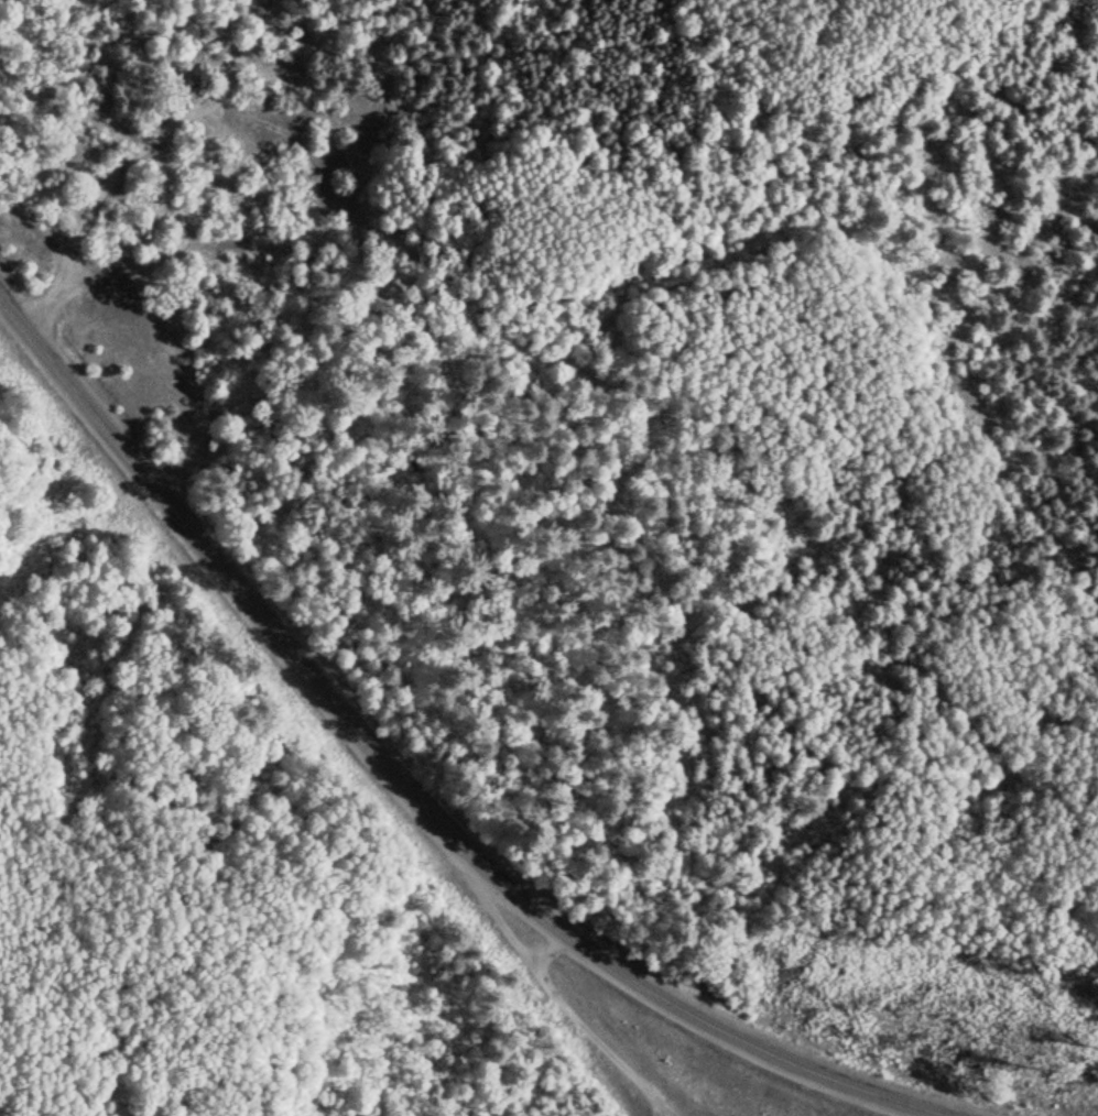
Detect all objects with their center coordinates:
road: (135, 154)
road: (405, 787)
road: (586, 1027)

